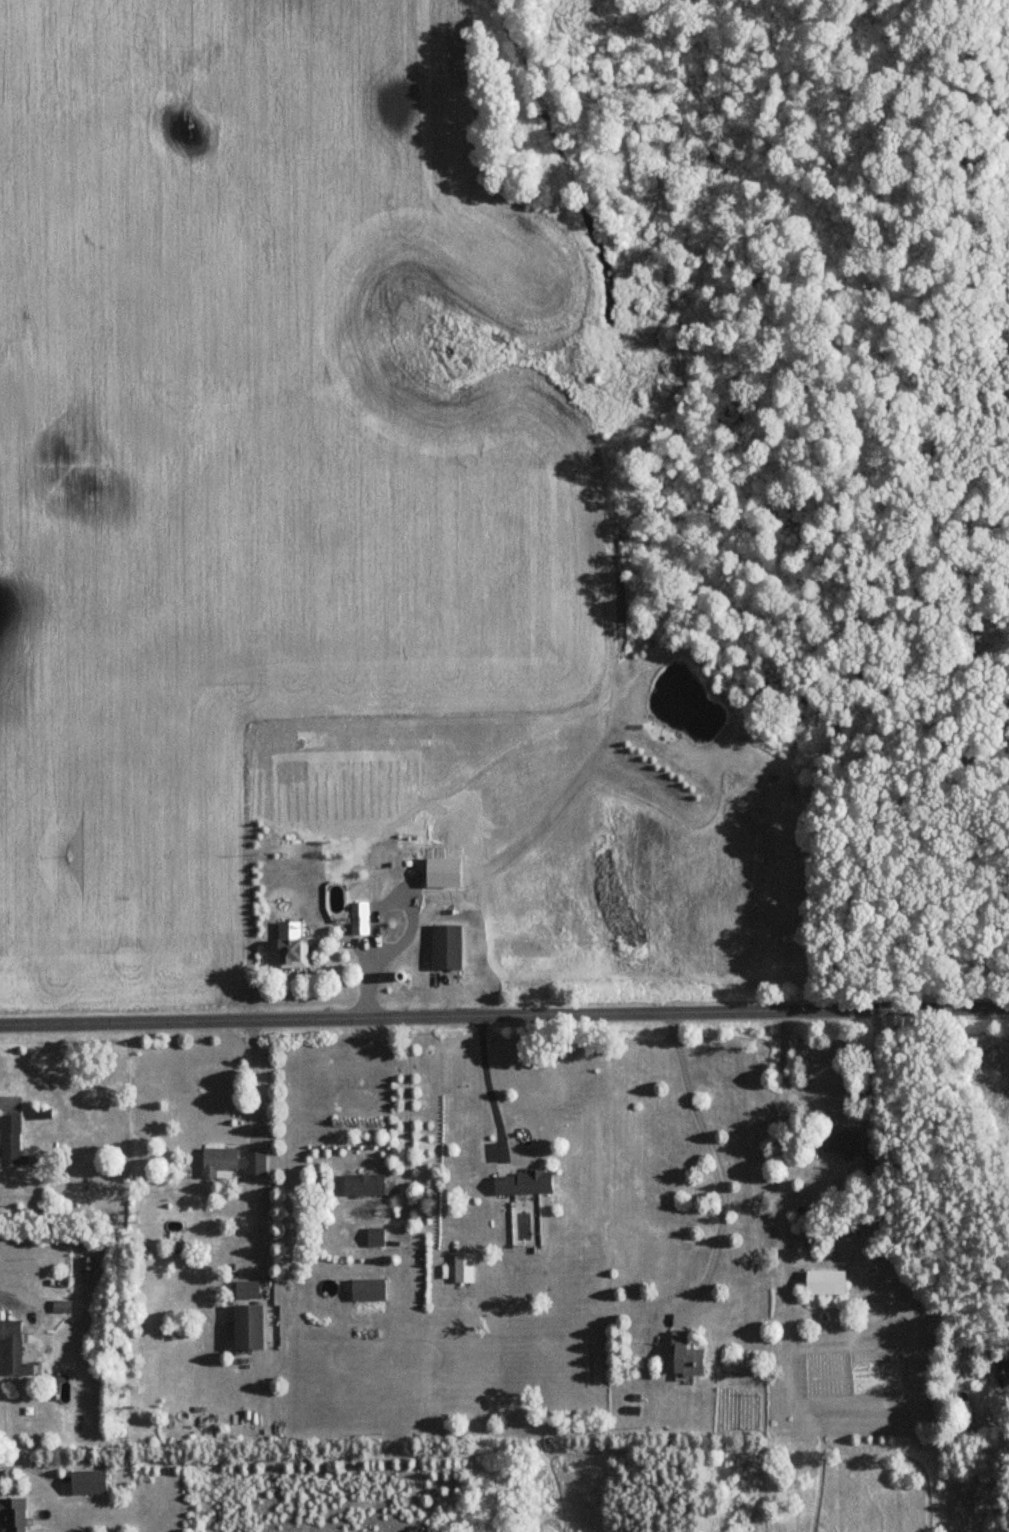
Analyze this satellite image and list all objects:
park: (910, 495)
building: (371, 888)
building: (339, 899)
building: (360, 919)
building: (395, 922)
building: (451, 947)
building: (293, 955)
road: (504, 1014)
road: (488, 1086)
road: (829, 1086)
road: (6, 1098)
road: (407, 1099)
building: (42, 1114)
road: (261, 1138)
building: (12, 1140)
building: (848, 1143)
road: (714, 1161)
building: (880, 1162)
building: (233, 1164)
building: (527, 1184)
building: (367, 1185)
building: (467, 1268)
road: (5, 1280)
building: (831, 1283)
building: (248, 1290)
building: (370, 1290)
building: (63, 1306)
building: (251, 1327)
building: (17, 1349)
building: (689, 1356)
building: (1004, 1375)
building: (17, 1513)

